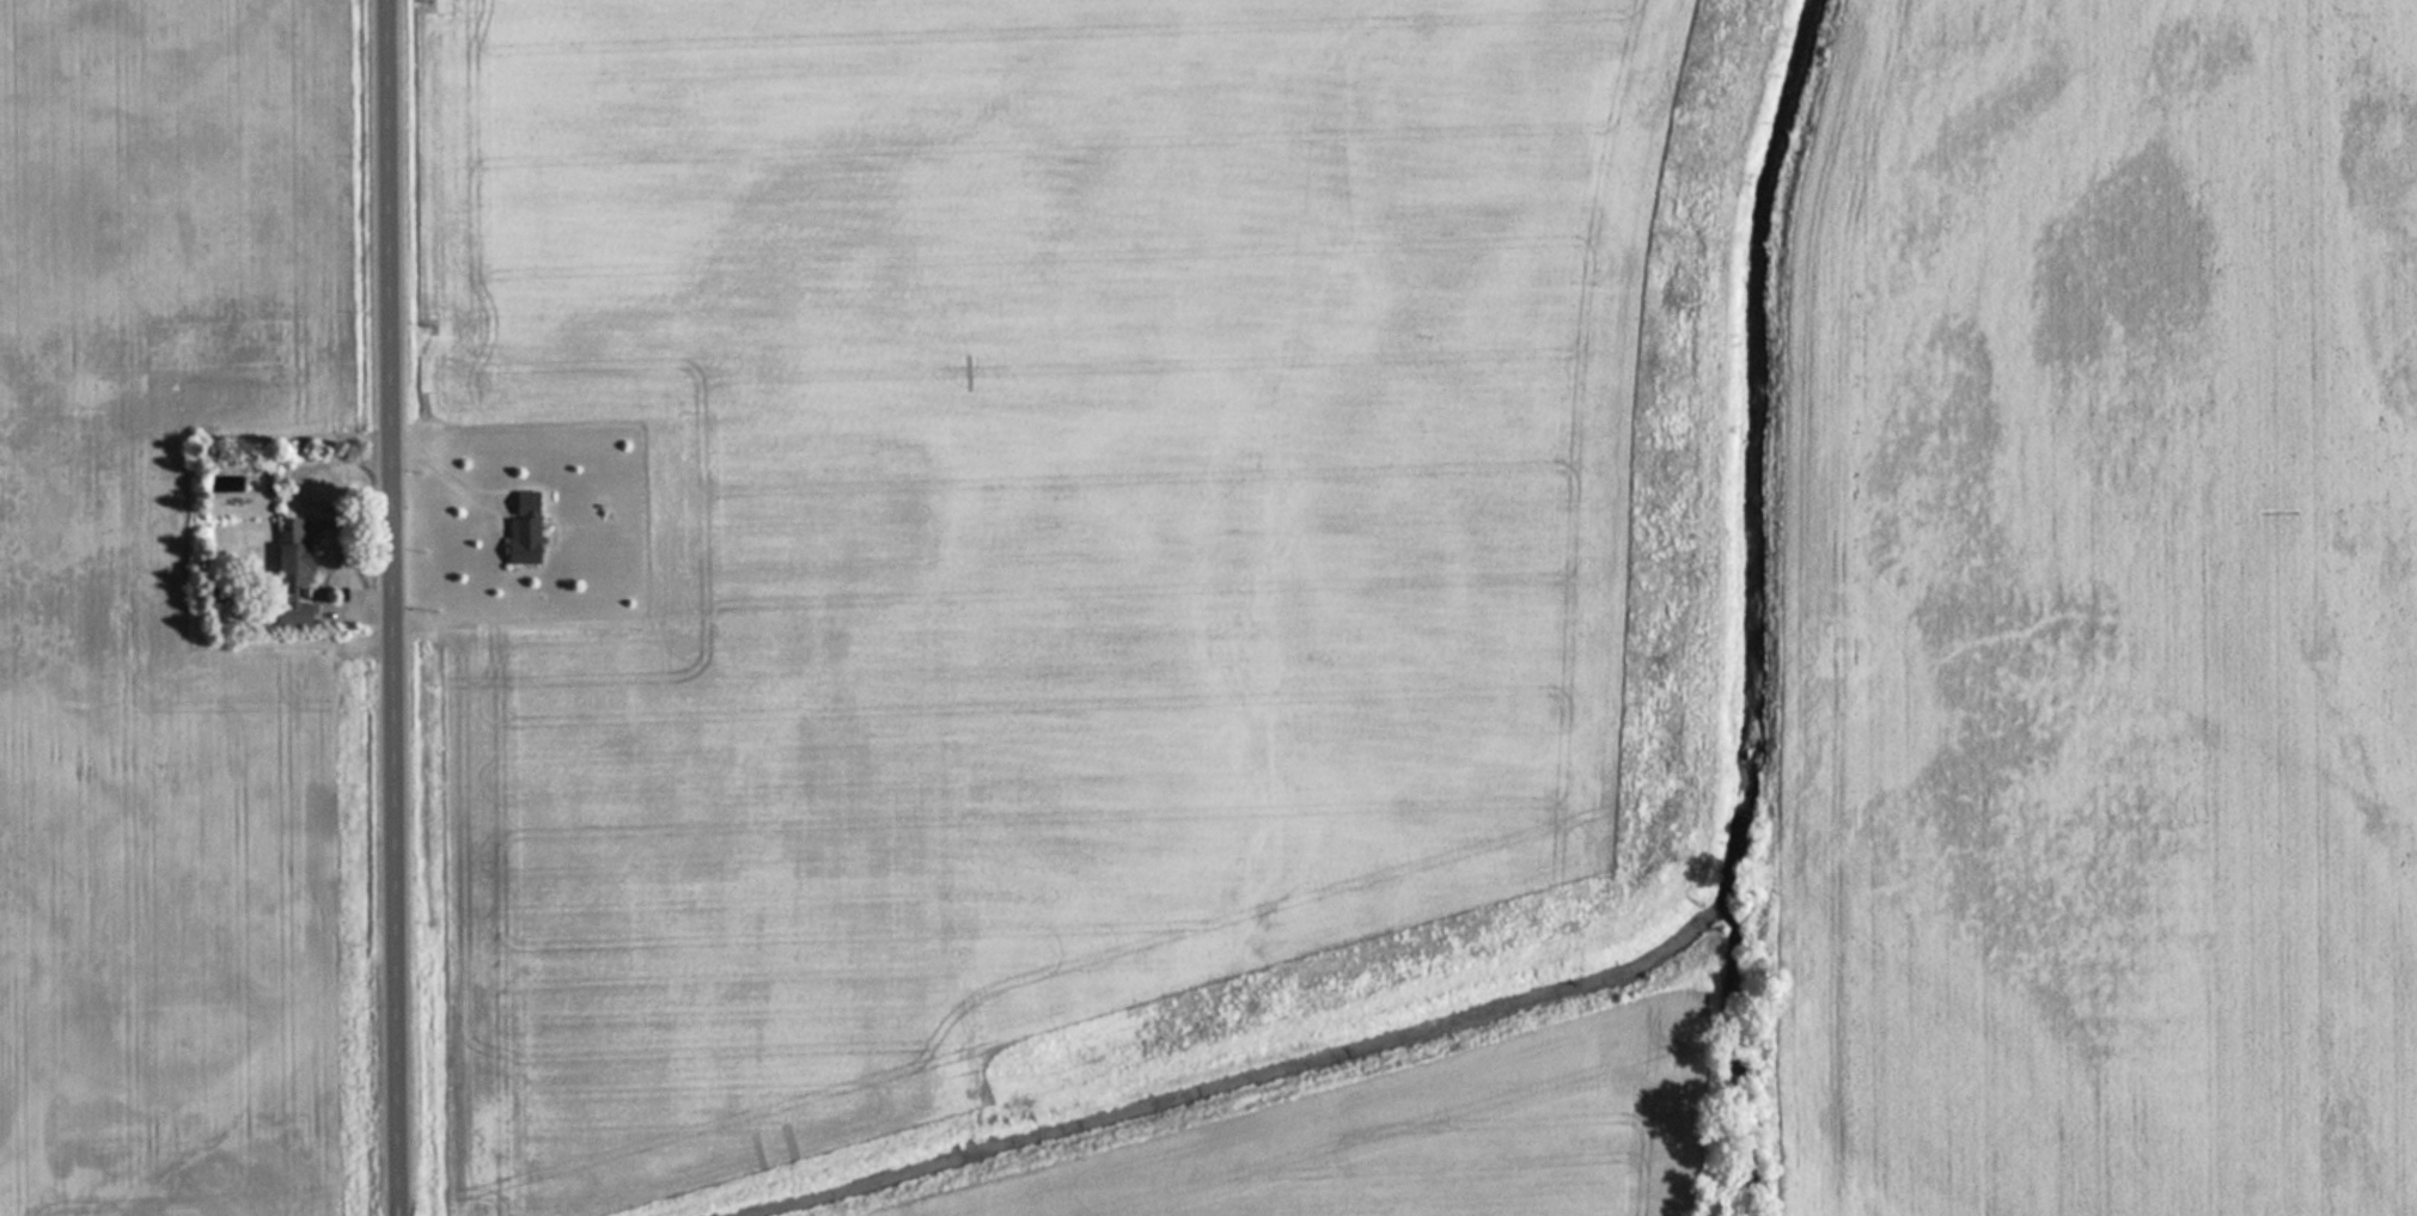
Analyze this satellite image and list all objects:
river: (1750, 452)
building: (523, 527)
building: (291, 555)
road: (396, 607)
building: (292, 613)

